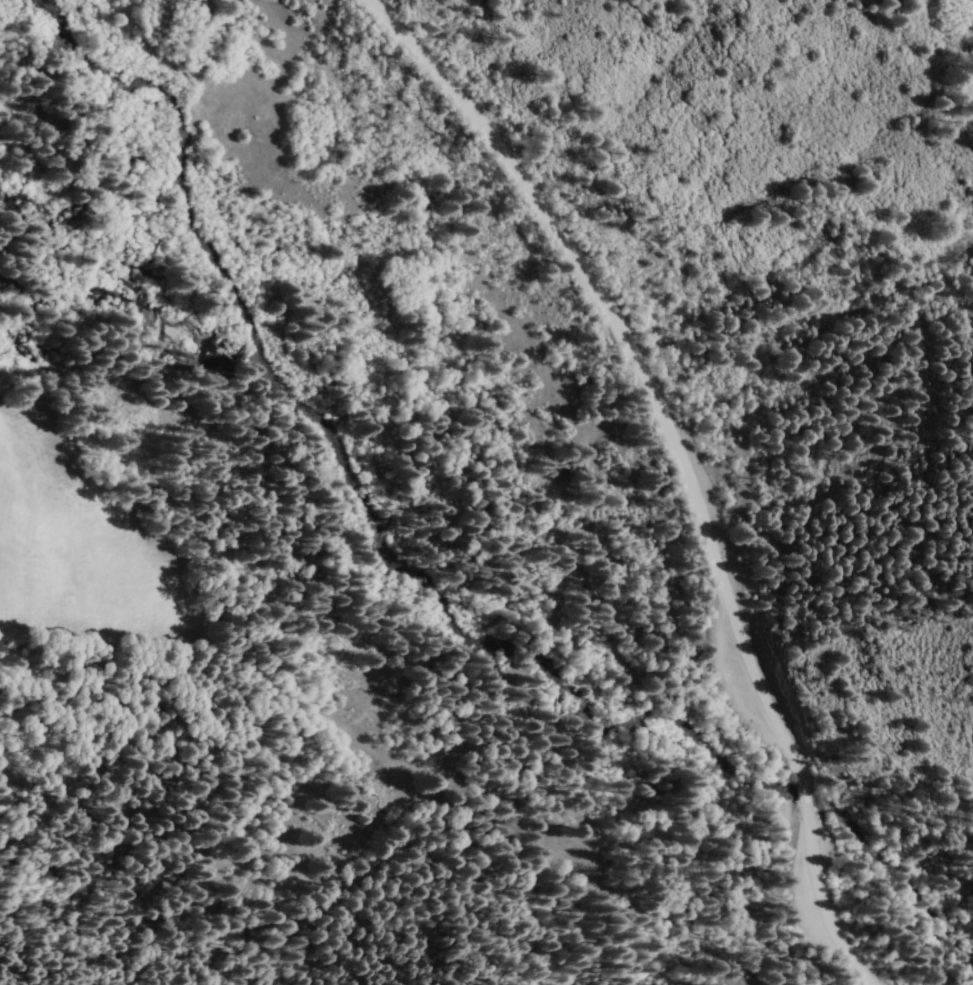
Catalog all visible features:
road: (635, 361)
river: (568, 467)
road: (829, 486)
road: (742, 553)
parking lot: (749, 688)
road: (804, 793)
road: (820, 902)

